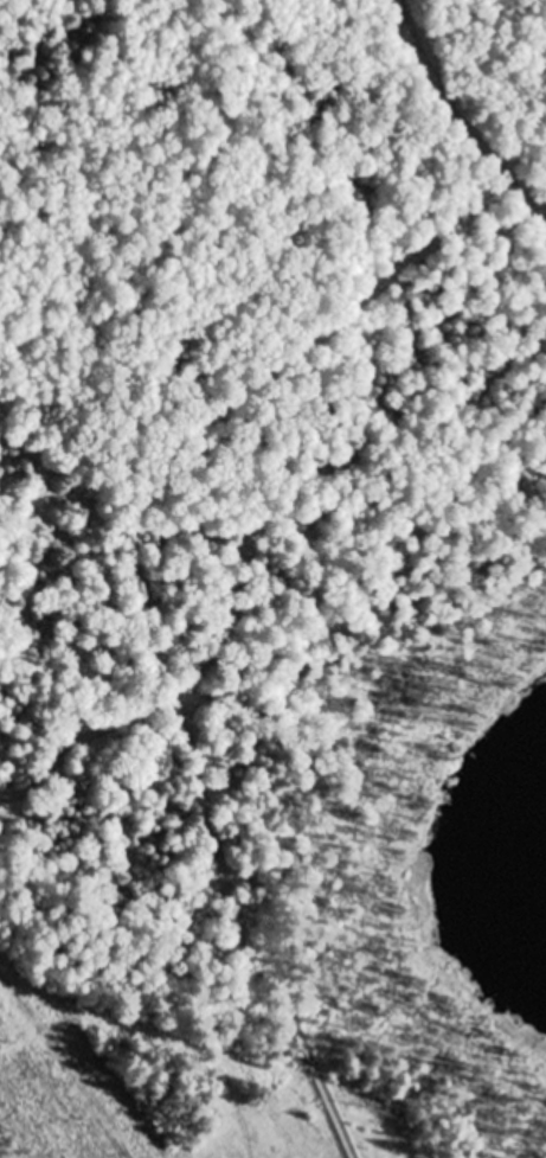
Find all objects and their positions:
road: (444, 128)
road: (176, 869)
power tower: (24, 1048)
road: (320, 1087)

